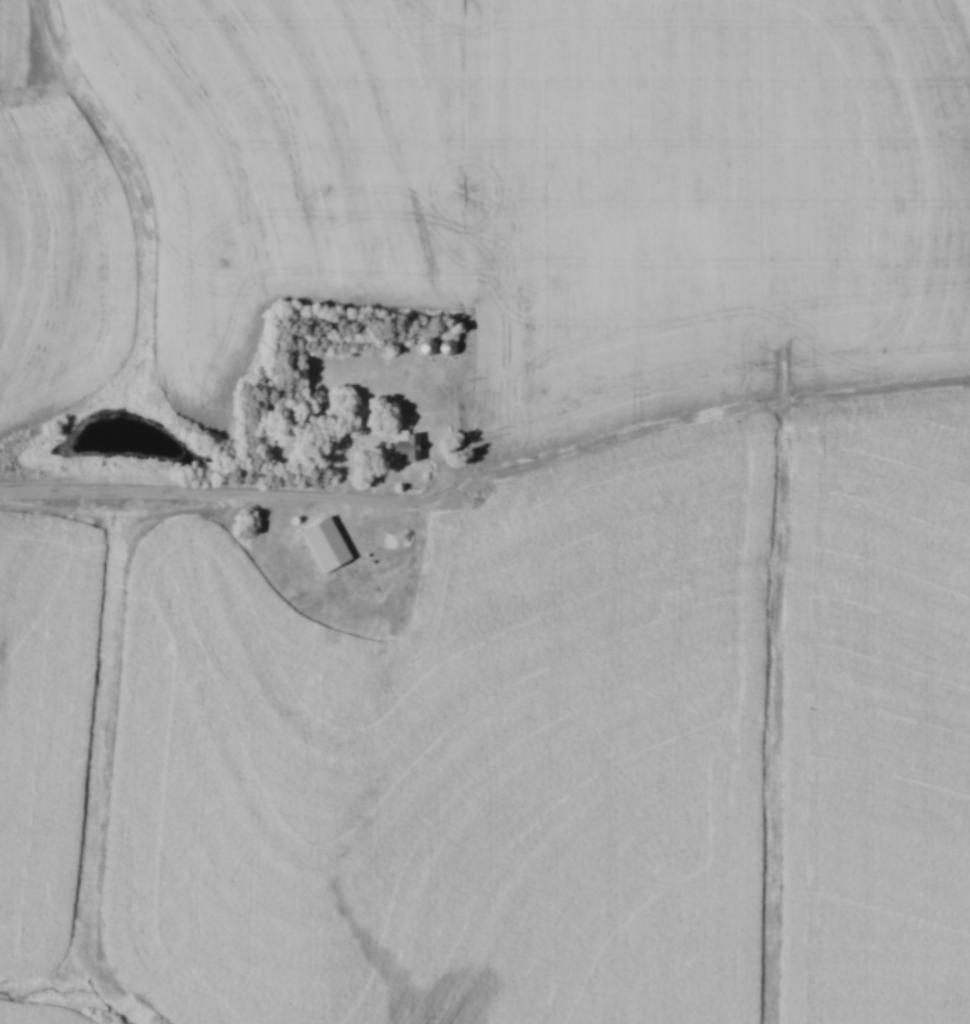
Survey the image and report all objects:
building: (404, 445)
road: (181, 494)
building: (322, 545)
building: (370, 636)

